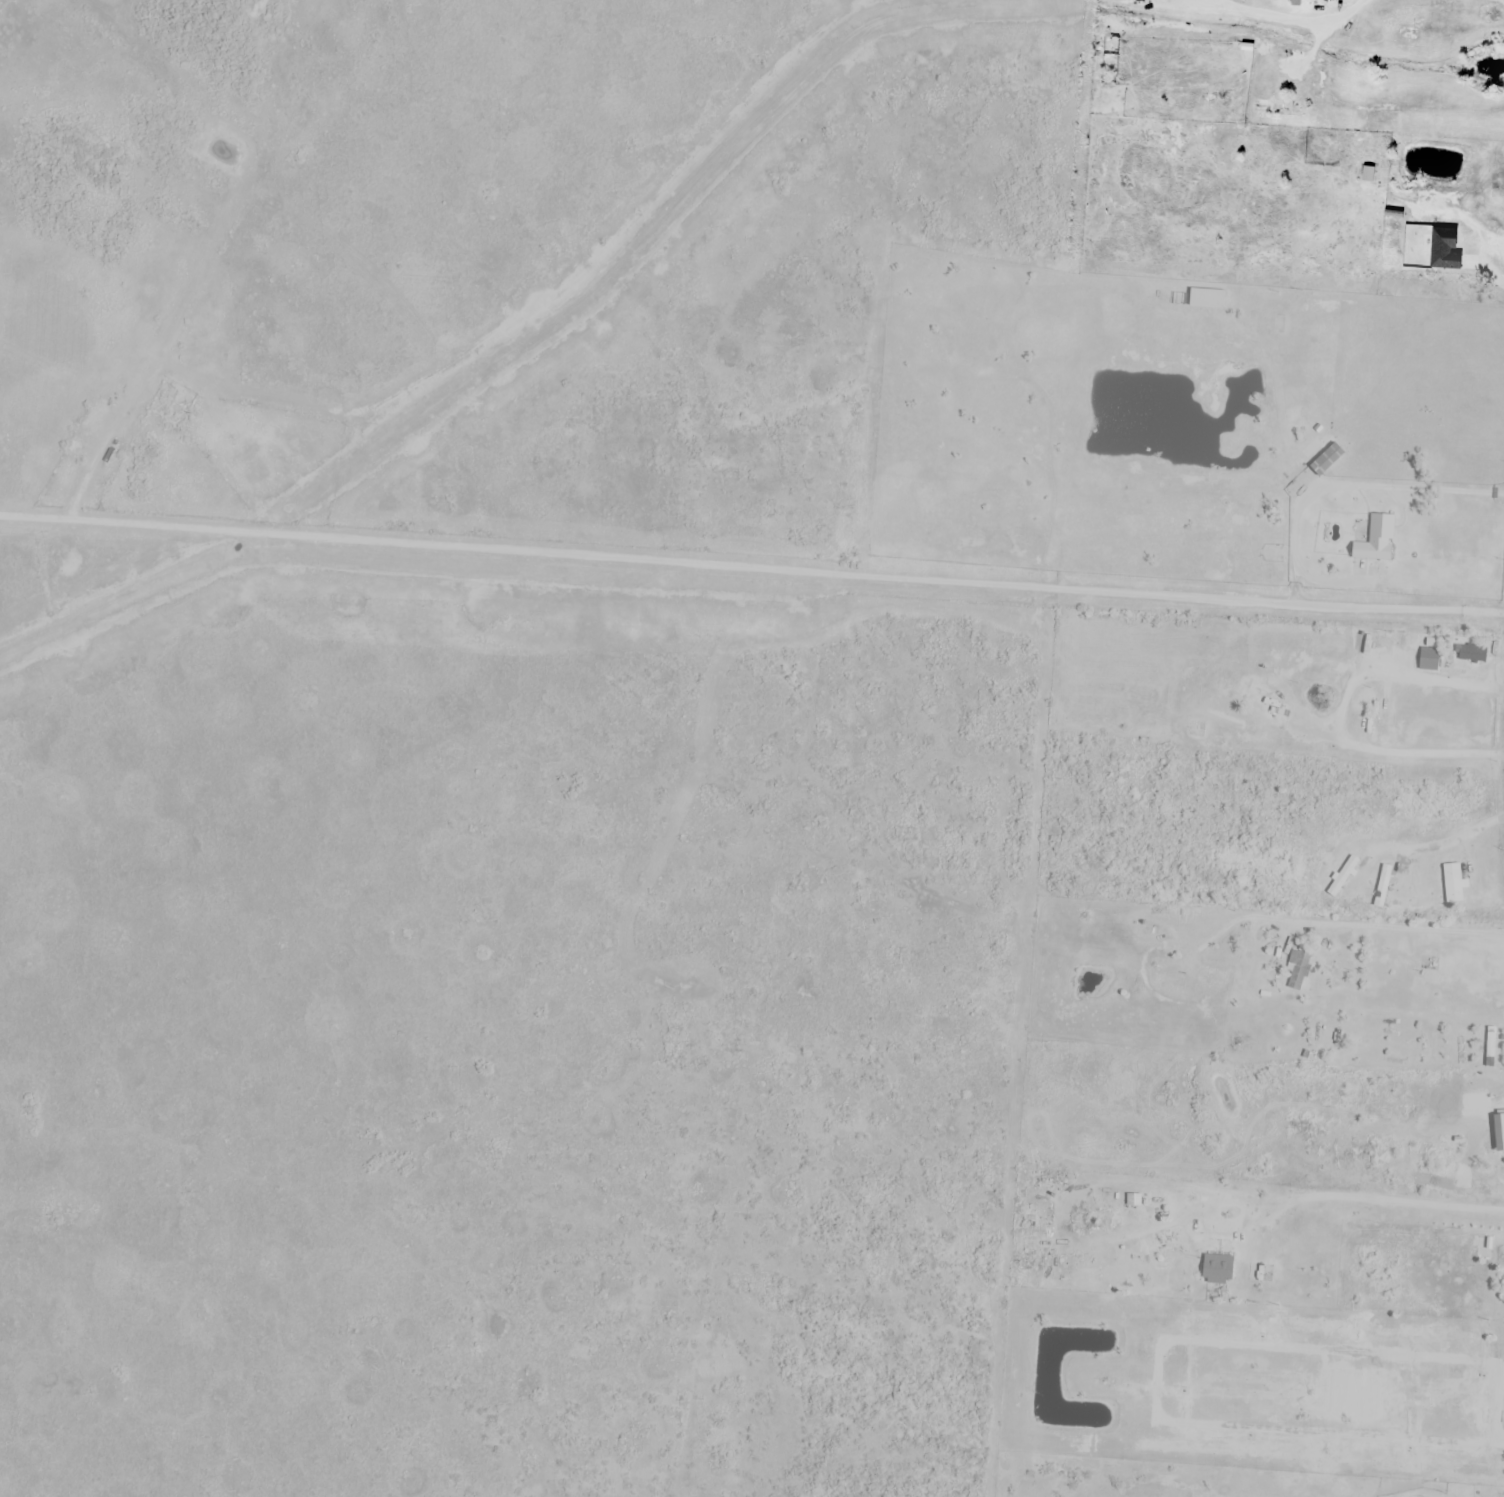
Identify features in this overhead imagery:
building: (1152, 0)
building: (1173, 0)
building: (1218, 0)
building: (1315, 1)
building: (1203, 2)
building: (1479, 16)
road: (1252, 22)
building: (1185, 194)
road: (1460, 260)
building: (1267, 323)
building: (86, 430)
building: (1325, 461)
road: (751, 568)
building: (1469, 654)
building: (1428, 659)
road: (1456, 685)
building: (1258, 713)
building: (1382, 714)
road: (1402, 755)
road: (1438, 843)
building: (1342, 877)
building: (1382, 885)
building: (1412, 890)
building: (1298, 967)
building: (1332, 1038)
building: (1491, 1046)
building: (1460, 1051)
building: (1052, 1178)
road: (1276, 1203)
building: (1231, 1233)
building: (1319, 1243)
building: (1484, 1249)
building: (1500, 1495)

